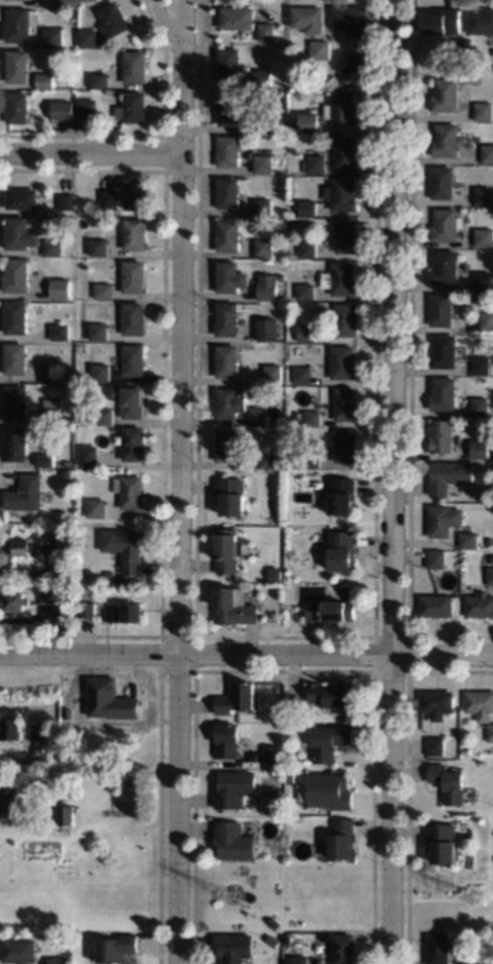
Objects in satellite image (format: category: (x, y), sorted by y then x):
building: (25, 0)
building: (85, 0)
building: (66, 2)
building: (236, 17)
building: (307, 18)
building: (113, 19)
building: (351, 19)
building: (442, 20)
building: (480, 21)
road: (161, 22)
building: (19, 23)
building: (266, 31)
building: (87, 36)
building: (52, 37)
building: (460, 40)
building: (319, 49)
building: (355, 61)
building: (227, 63)
building: (17, 66)
building: (134, 66)
building: (261, 76)
building: (343, 78)
building: (44, 80)
building: (99, 80)
building: (445, 94)
building: (16, 106)
building: (132, 106)
building: (87, 107)
building: (341, 108)
building: (62, 109)
building: (228, 109)
building: (483, 110)
building: (266, 120)
building: (307, 121)
building: (445, 139)
building: (227, 150)
building: (346, 151)
road: (90, 152)
building: (487, 153)
building: (262, 163)
building: (315, 163)
building: (441, 182)
building: (133, 193)
building: (227, 193)
building: (341, 193)
building: (483, 195)
building: (20, 197)
building: (109, 198)
building: (65, 200)
building: (261, 206)
building: (307, 206)
building: (446, 224)
building: (19, 232)
building: (226, 233)
building: (134, 234)
building: (346, 235)
building: (484, 236)
building: (97, 245)
building: (51, 246)
building: (262, 246)
building: (307, 247)
building: (445, 266)
building: (14, 274)
building: (132, 275)
building: (229, 275)
building: (280, 276)
building: (340, 279)
building: (482, 279)
building: (50, 288)
building: (103, 289)
building: (268, 289)
building: (304, 291)
building: (475, 296)
building: (441, 309)
building: (15, 317)
building: (132, 318)
building: (225, 318)
building: (345, 318)
building: (486, 320)
building: (267, 329)
building: (97, 330)
building: (306, 330)
building: (58, 331)
building: (443, 350)
building: (14, 357)
building: (67, 359)
building: (133, 359)
building: (226, 359)
building: (342, 362)
building: (481, 364)
building: (49, 371)
building: (99, 371)
building: (272, 373)
building: (301, 374)
building: (443, 394)
building: (14, 401)
building: (128, 401)
building: (228, 402)
building: (345, 402)
building: (480, 406)
building: (50, 410)
building: (257, 414)
building: (103, 415)
building: (297, 415)
building: (311, 416)
building: (90, 418)
building: (441, 435)
building: (132, 442)
building: (13, 444)
building: (345, 444)
building: (225, 445)
building: (480, 447)
building: (87, 456)
building: (267, 458)
building: (310, 458)
building: (43, 459)
building: (297, 459)
building: (449, 475)
road: (384, 481)
road: (180, 482)
building: (128, 491)
building: (24, 492)
building: (230, 495)
building: (340, 495)
building: (95, 506)
building: (444, 519)
building: (469, 539)
building: (49, 541)
building: (21, 546)
building: (124, 546)
building: (226, 549)
building: (342, 550)
building: (467, 556)
building: (436, 558)
building: (490, 575)
building: (49, 594)
building: (13, 600)
building: (479, 604)
building: (435, 605)
building: (232, 606)
building: (84, 608)
building: (331, 609)
building: (123, 612)
road: (246, 655)
building: (332, 694)
building: (236, 697)
building: (108, 700)
building: (478, 701)
building: (437, 702)
building: (10, 727)
building: (38, 731)
building: (490, 731)
building: (54, 734)
building: (227, 739)
building: (329, 740)
building: (435, 745)
building: (466, 751)
building: (272, 757)
road: (20, 759)
building: (290, 776)
building: (448, 782)
building: (233, 788)
building: (327, 790)
building: (8, 799)
building: (96, 810)
building: (65, 811)
building: (88, 811)
building: (113, 811)
building: (341, 839)
building: (233, 841)
building: (441, 842)
building: (272, 922)
building: (272, 940)
building: (232, 946)
building: (114, 947)
building: (341, 948)
building: (436, 948)
building: (17, 949)
building: (297, 959)
building: (57, 960)
building: (470, 960)

